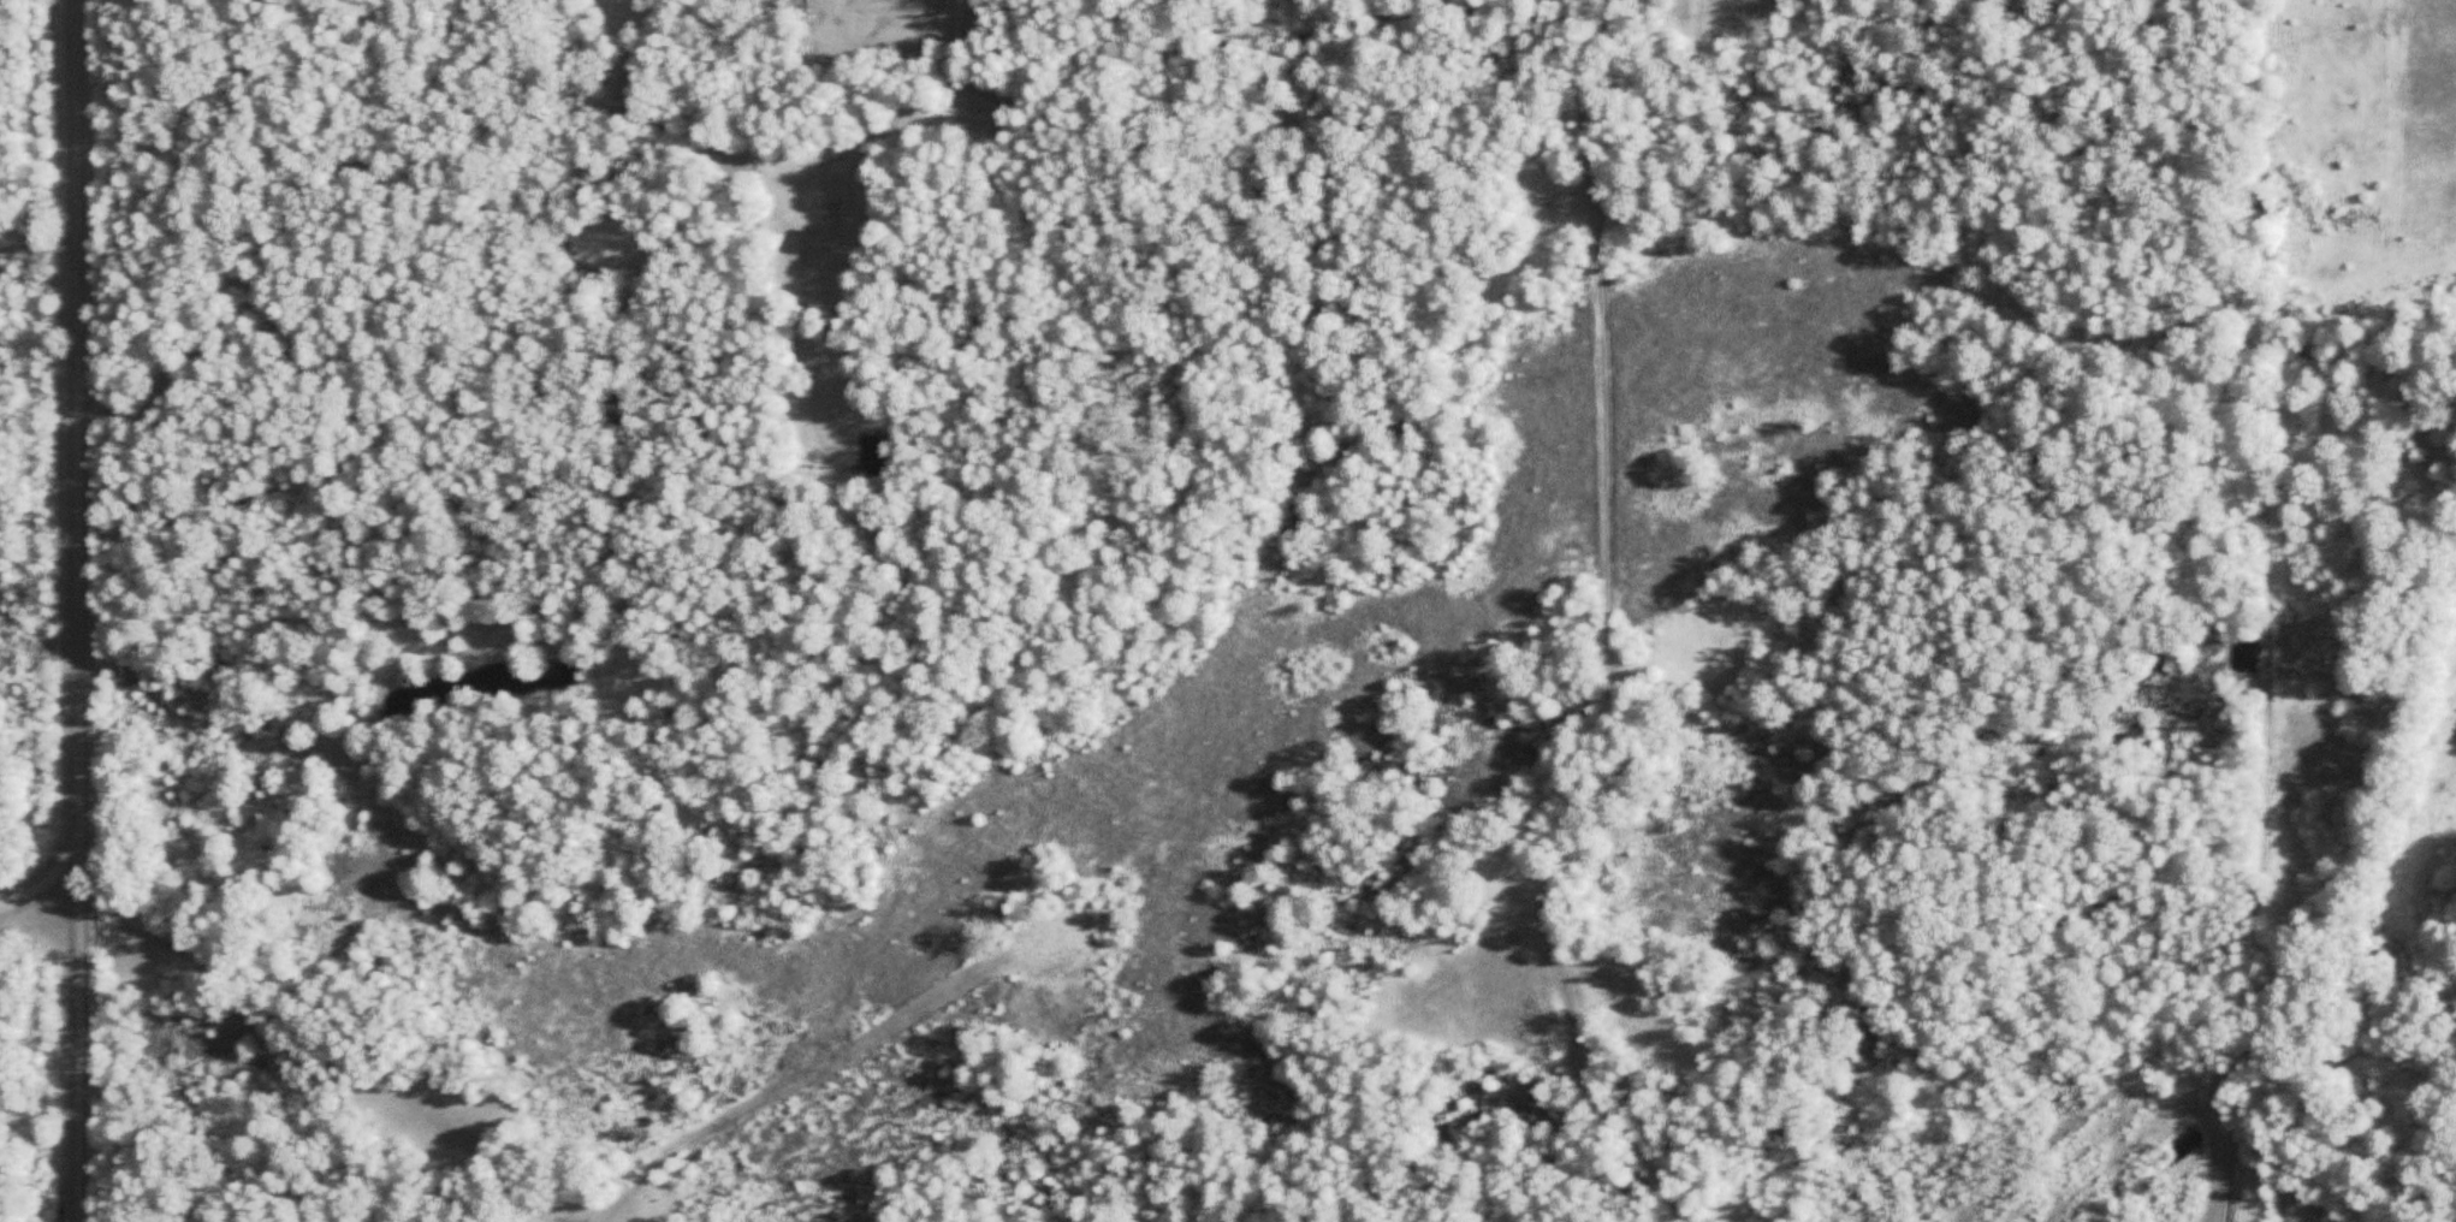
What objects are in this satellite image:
road: (77, 610)
road: (43, 877)

